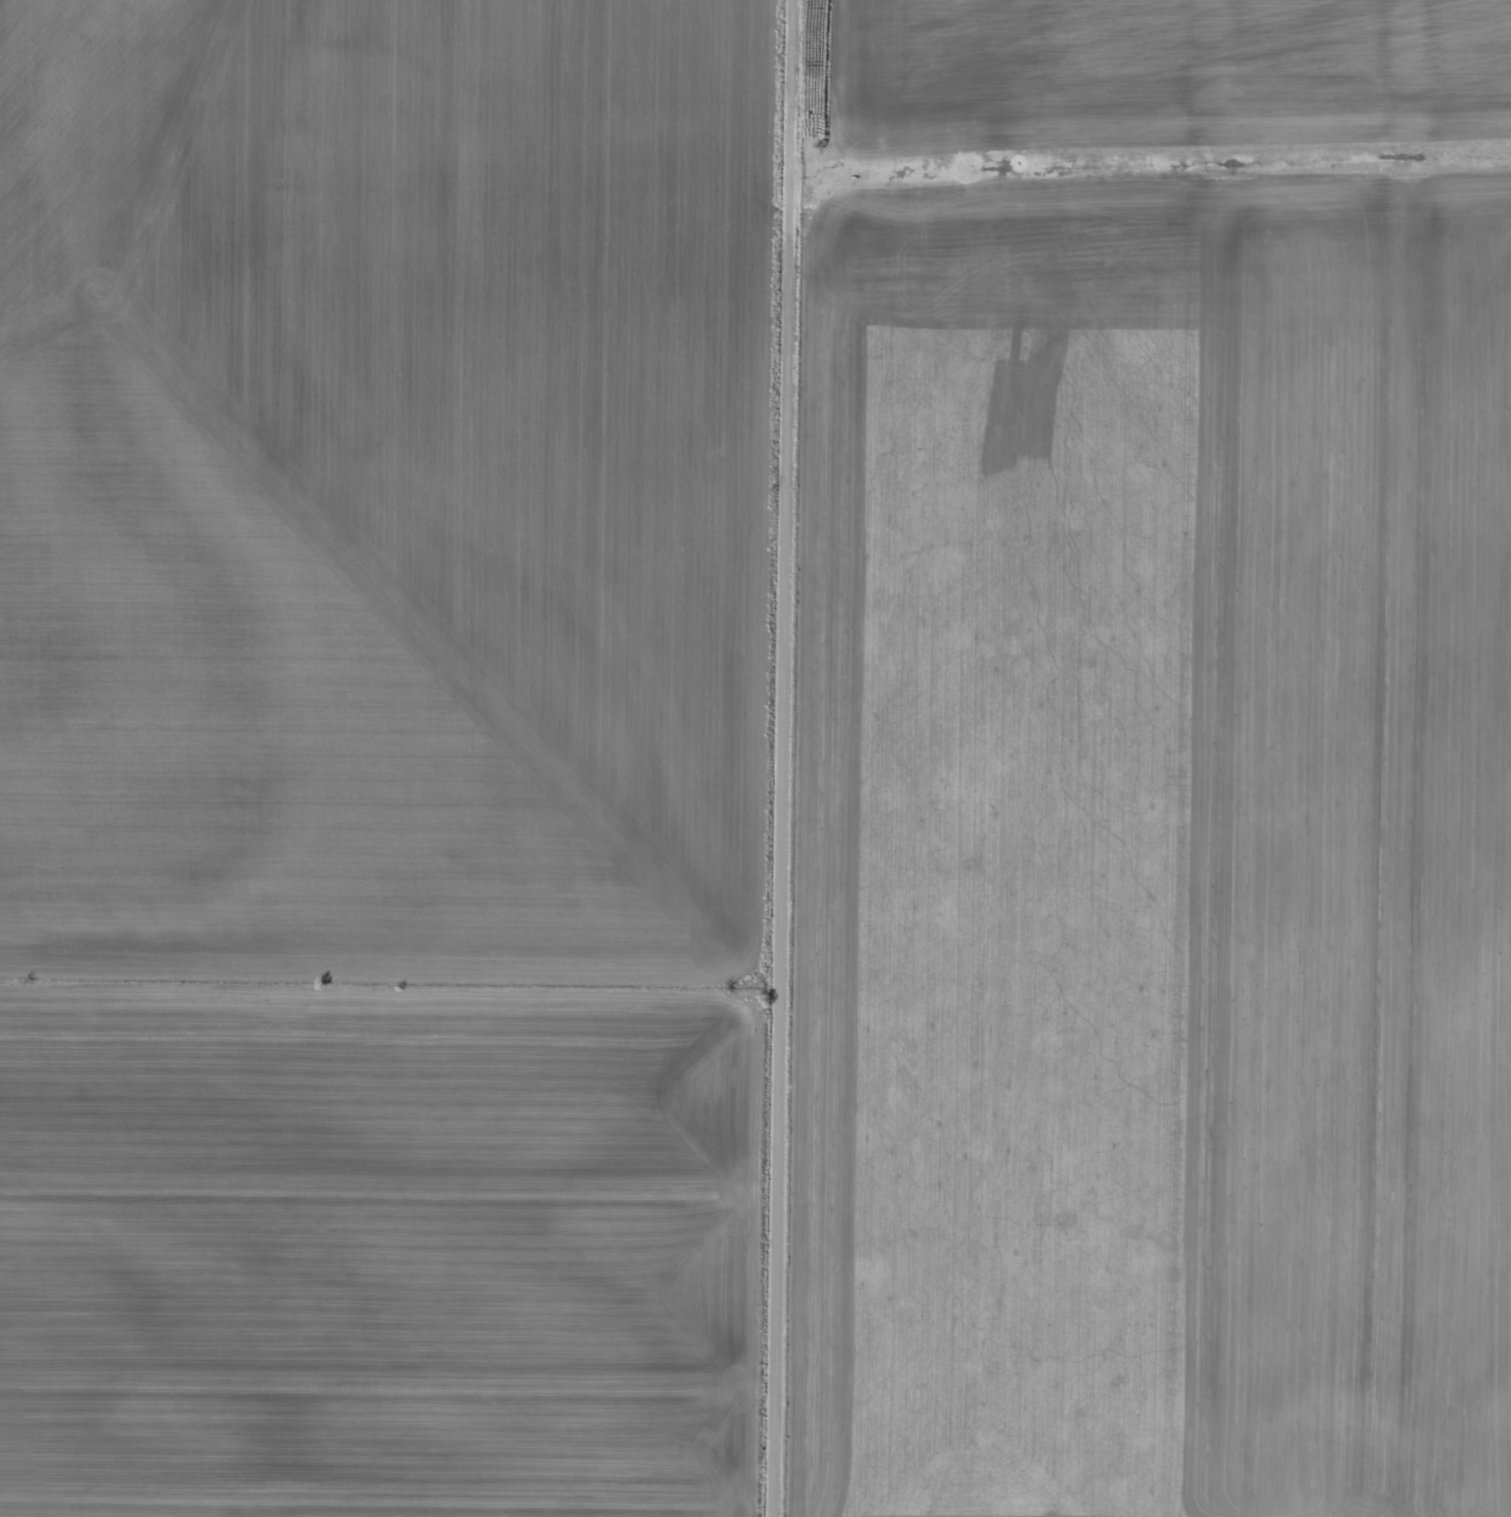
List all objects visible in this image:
road: (791, 758)

